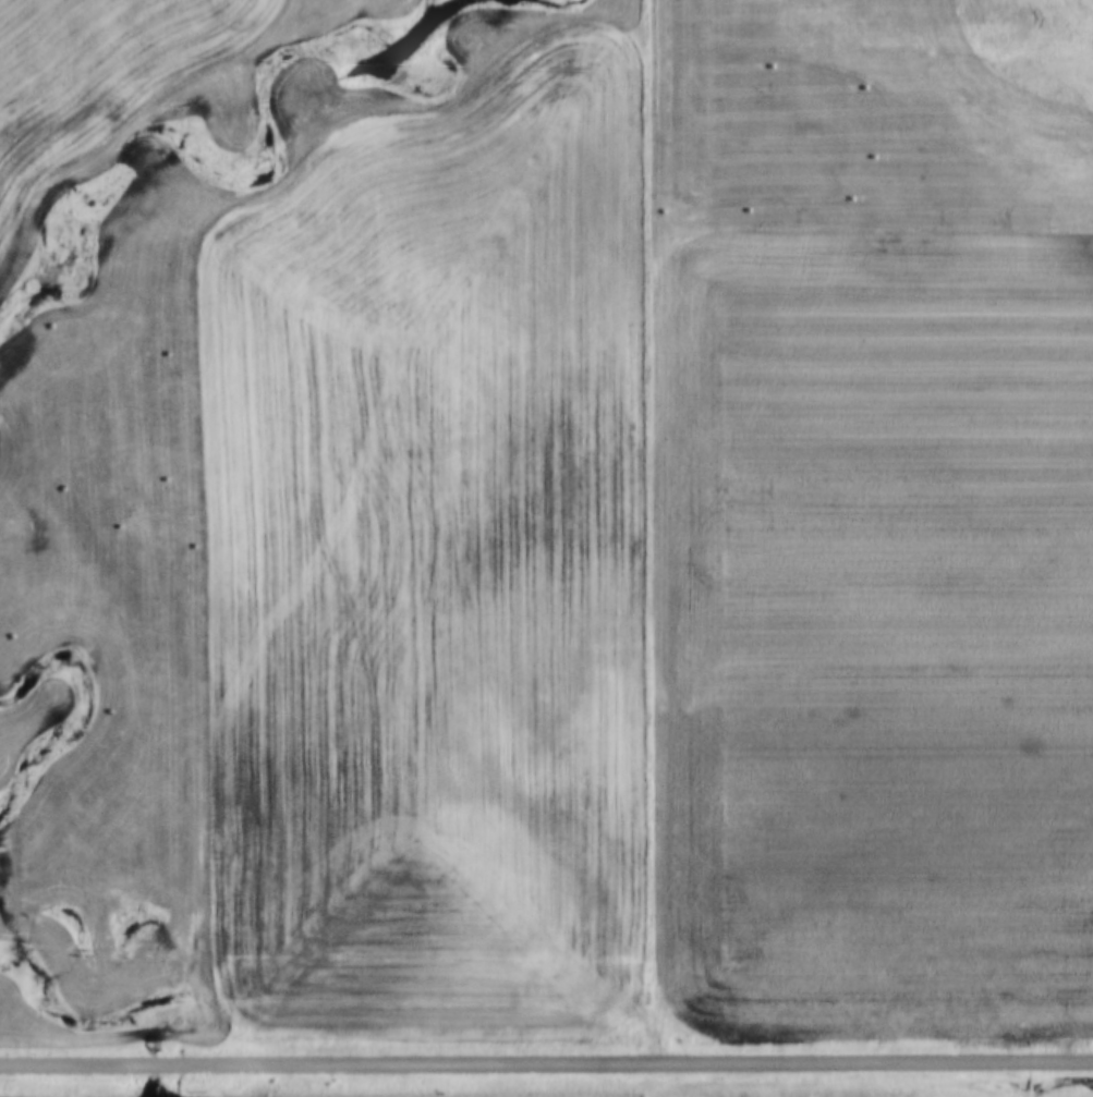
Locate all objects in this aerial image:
road: (546, 1063)

